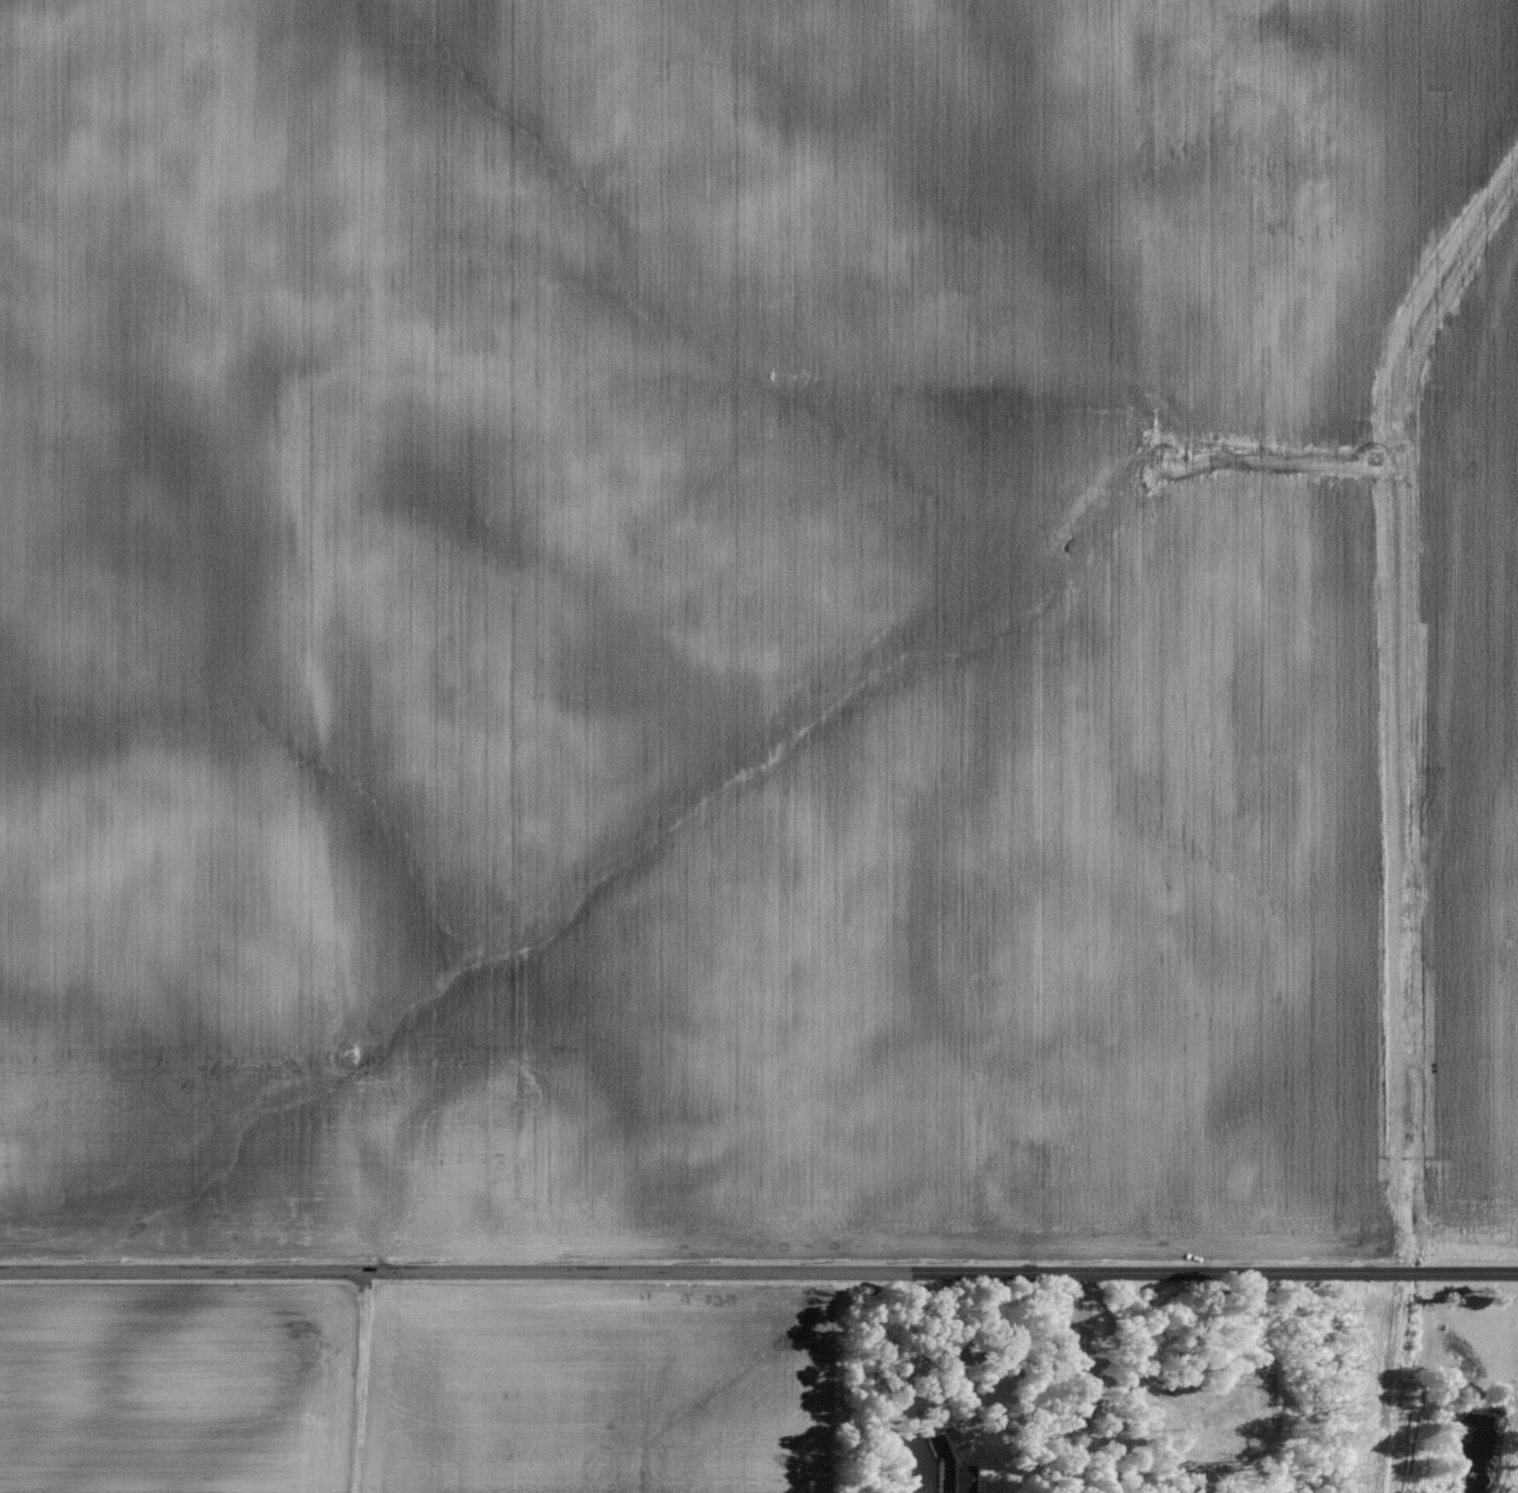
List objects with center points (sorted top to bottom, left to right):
road: (759, 1272)
road: (1010, 1334)
road: (353, 1382)
building: (945, 1467)

